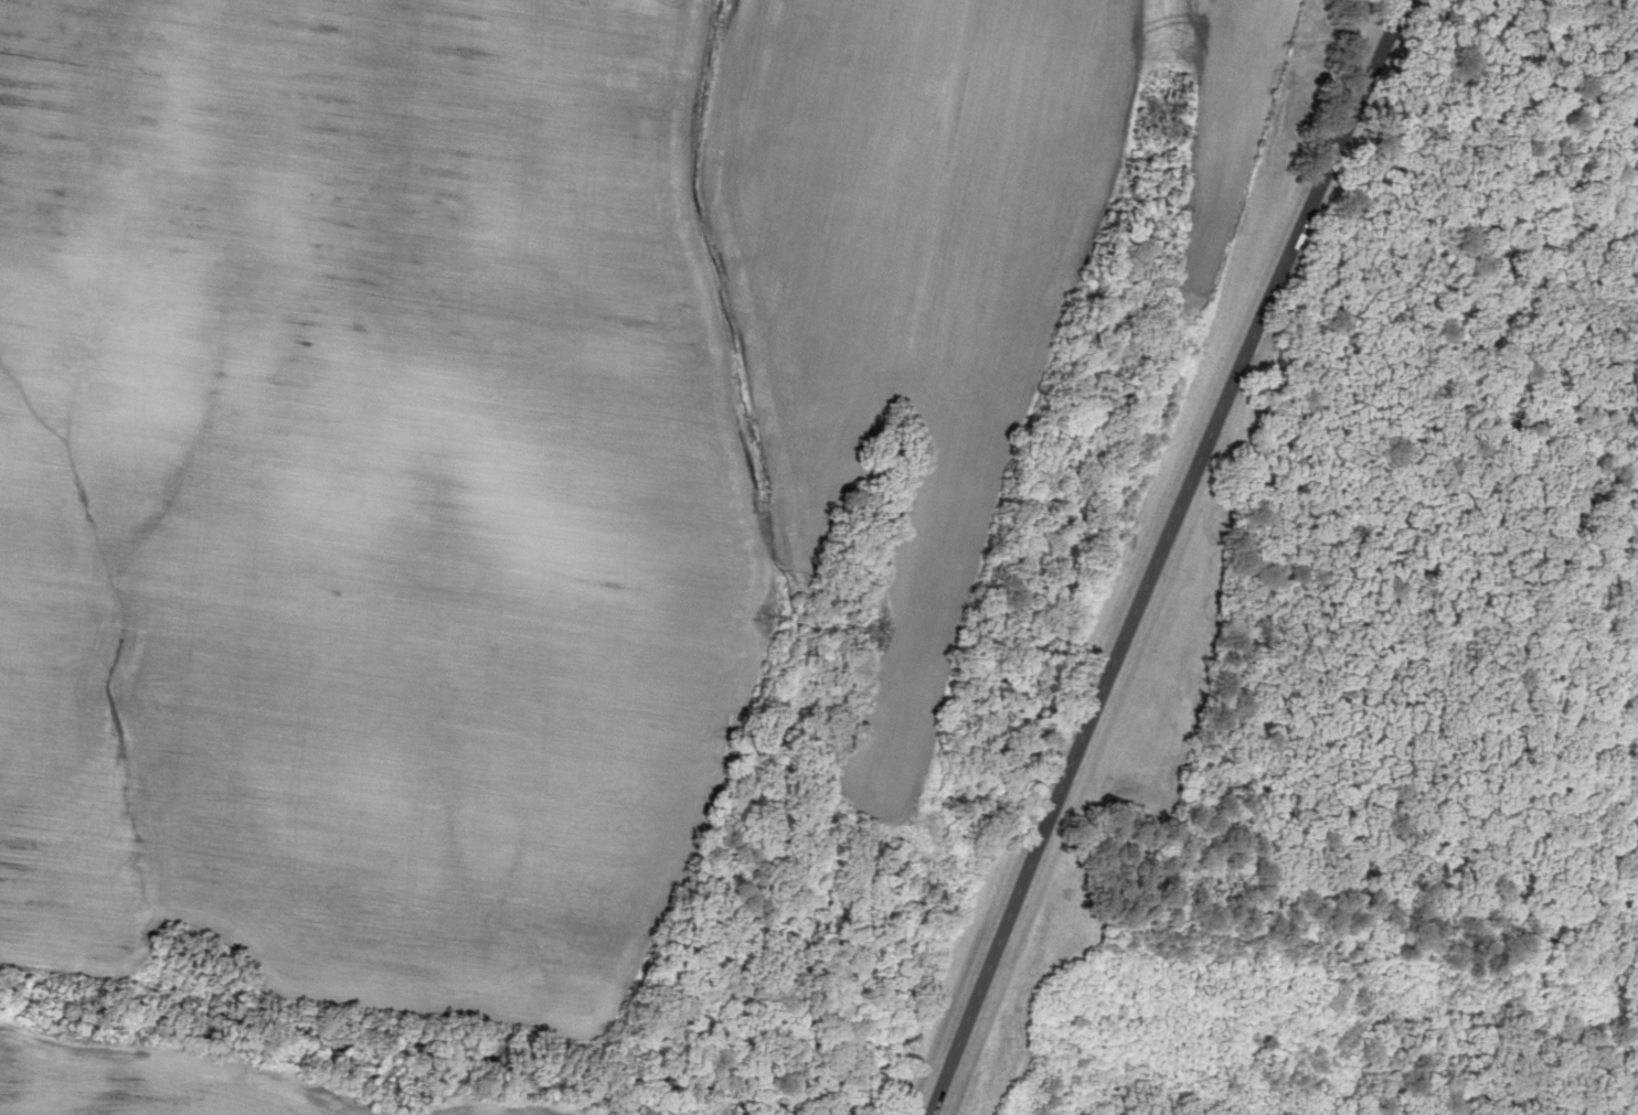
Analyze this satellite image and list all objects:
road: (1148, 549)

